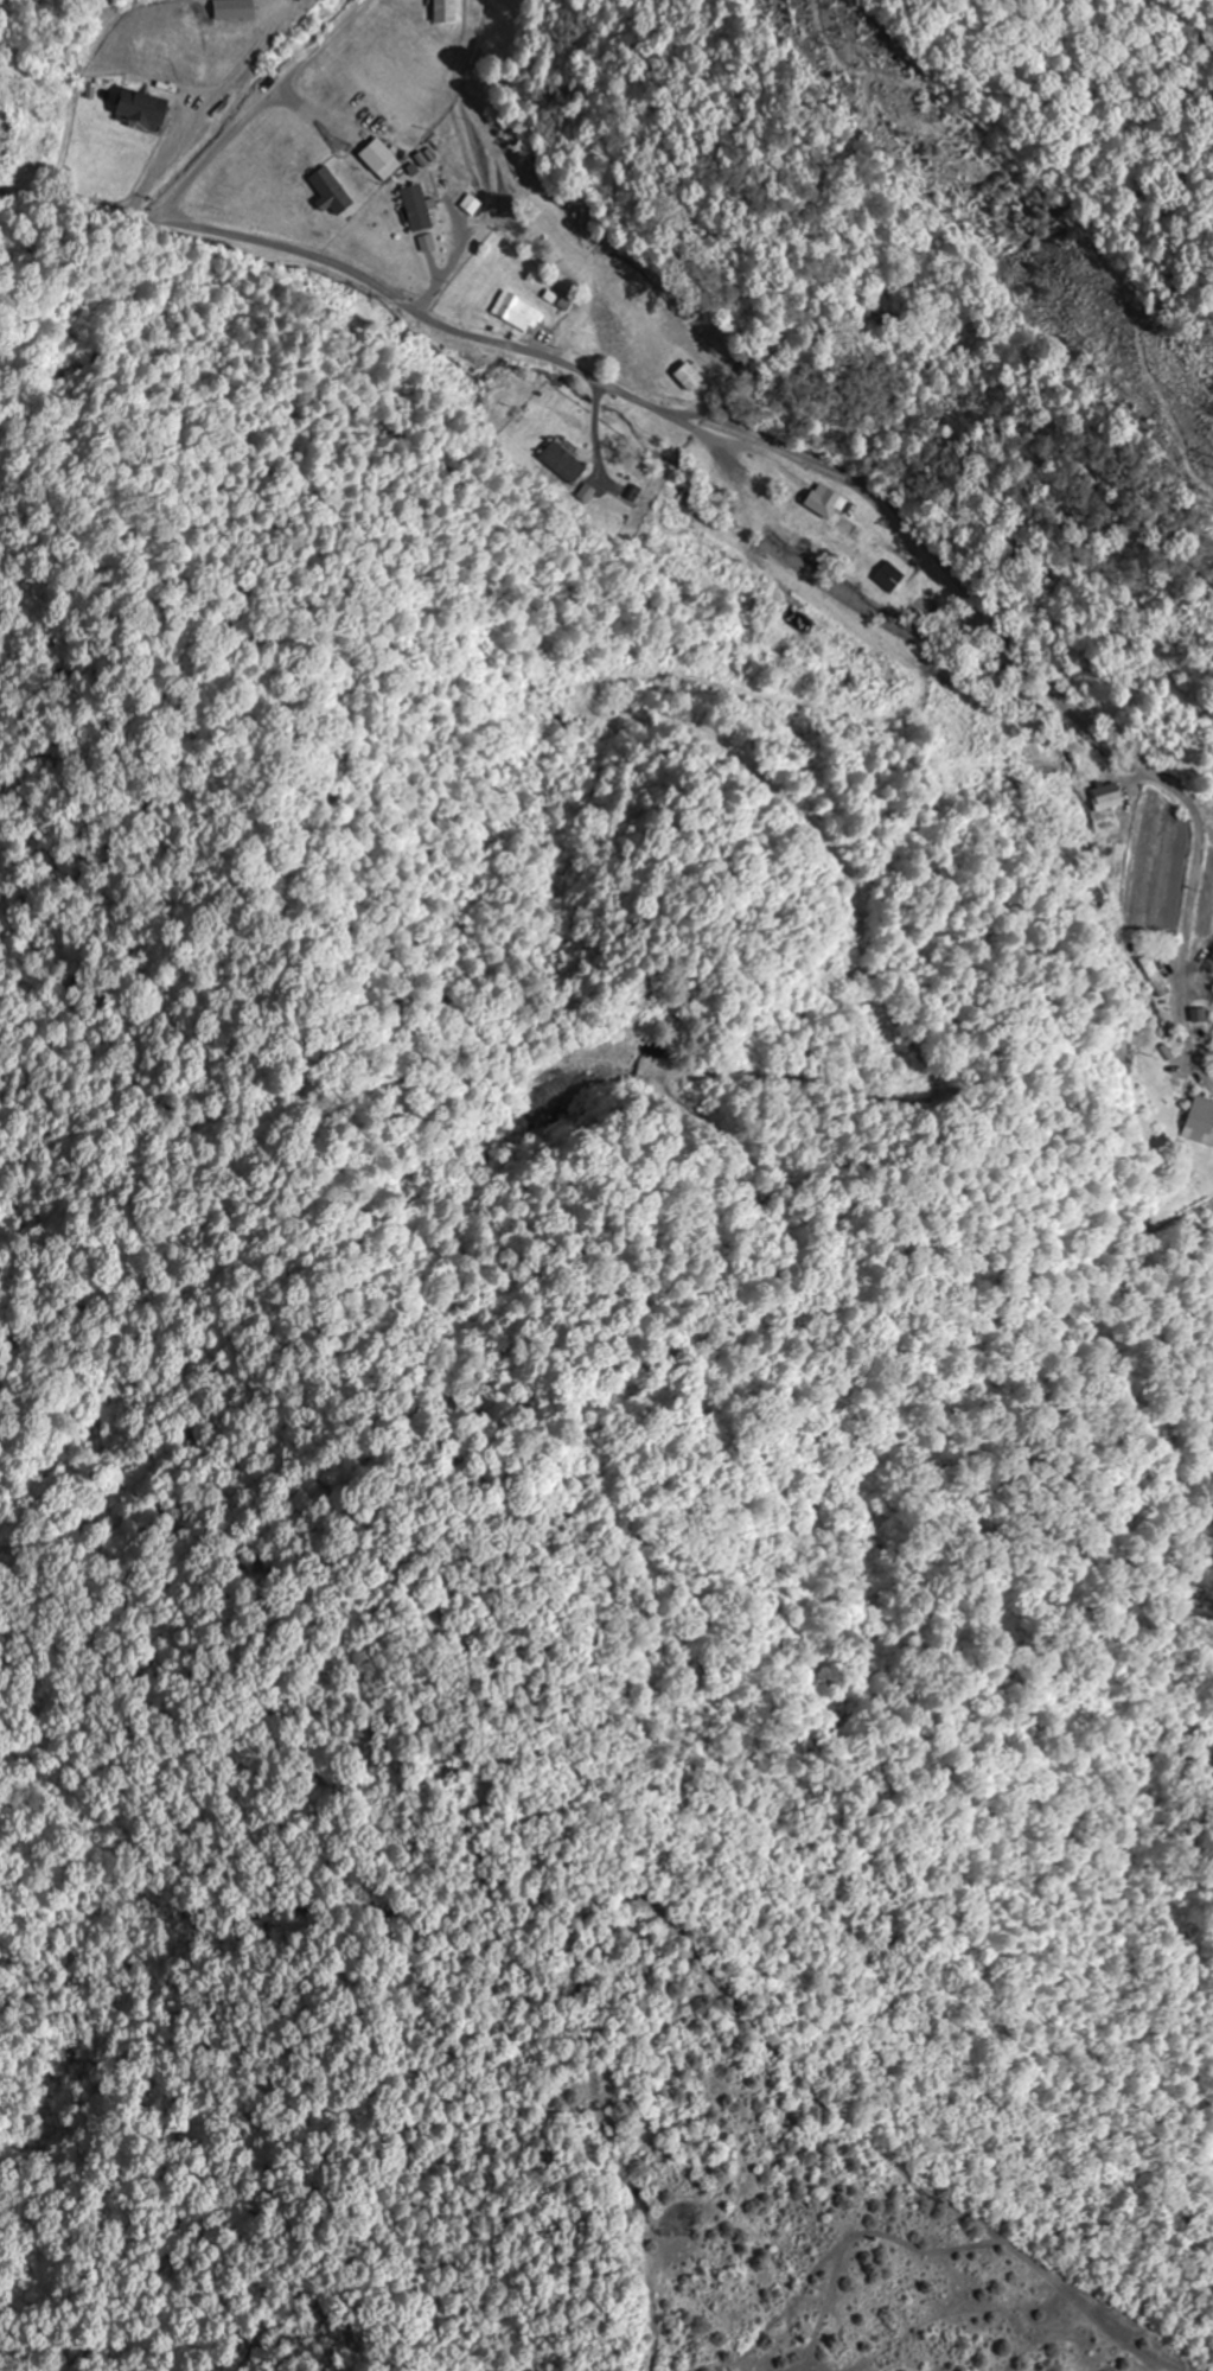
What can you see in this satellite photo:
building: (277, 0)
building: (446, 12)
building: (143, 108)
road: (261, 108)
building: (383, 160)
building: (422, 222)
building: (519, 313)
building: (691, 377)
road: (759, 431)
building: (563, 463)
building: (828, 503)
building: (851, 528)
building: (890, 578)
building: (1109, 798)
building: (1154, 977)
building: (1201, 1123)

